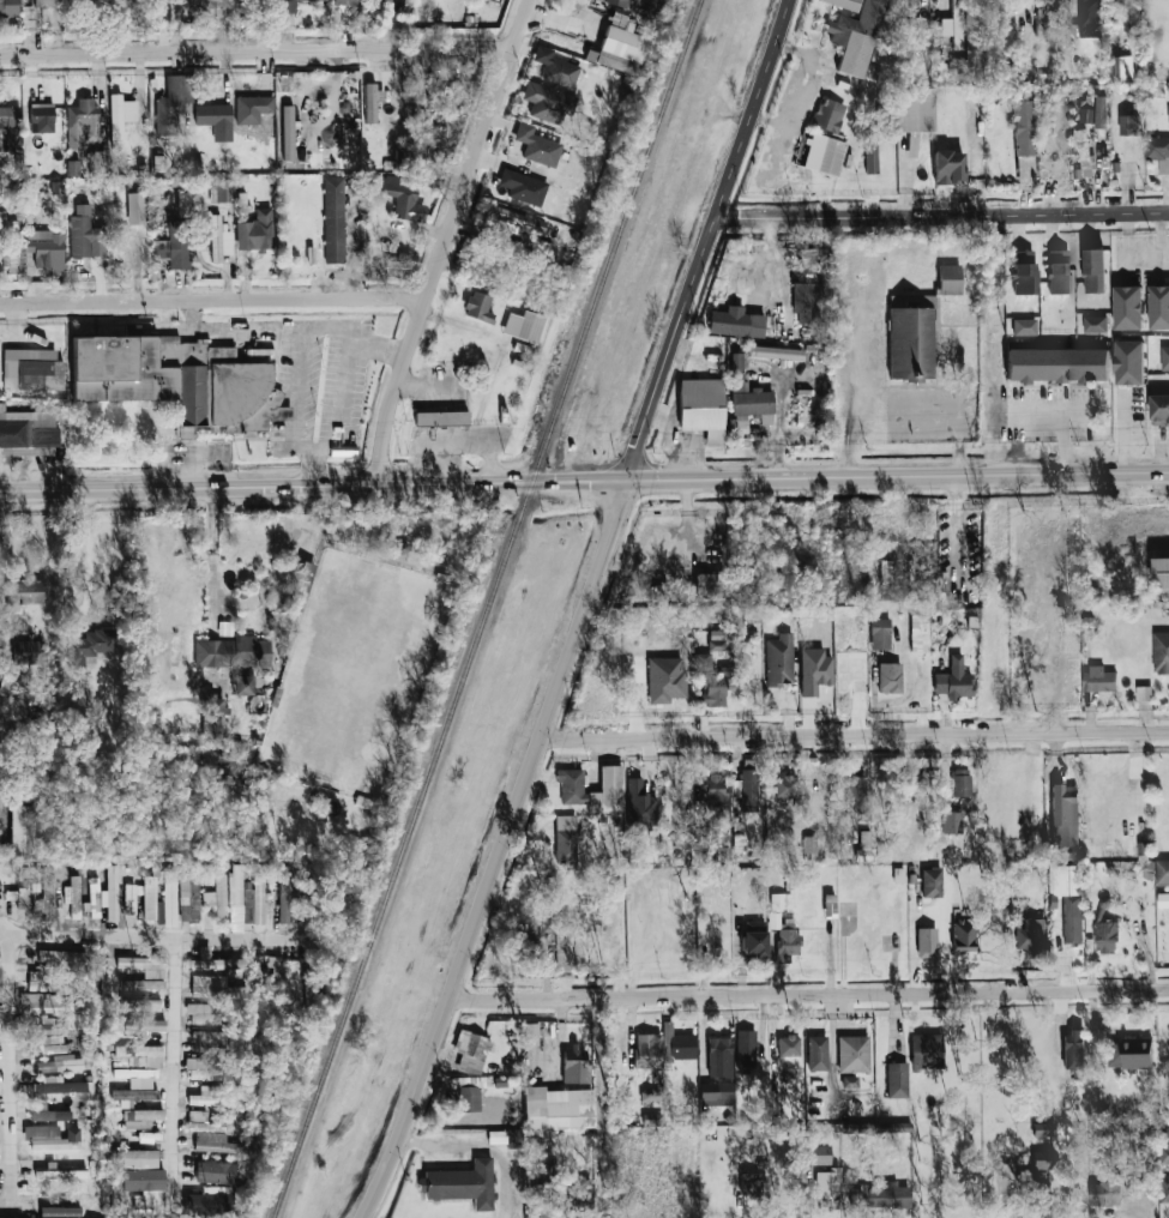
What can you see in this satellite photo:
building: (384, 0)
building: (343, 1)
building: (617, 2)
building: (43, 4)
building: (198, 5)
building: (287, 6)
building: (8, 8)
building: (909, 8)
building: (1131, 14)
building: (1090, 18)
building: (954, 25)
building: (856, 37)
building: (619, 47)
road: (257, 49)
building: (555, 67)
building: (1121, 68)
building: (372, 102)
building: (174, 103)
building: (548, 103)
building: (253, 108)
building: (915, 109)
building: (828, 114)
building: (1096, 114)
building: (42, 117)
building: (121, 117)
building: (216, 120)
building: (82, 122)
building: (1129, 125)
building: (10, 127)
building: (1024, 128)
building: (288, 132)
building: (537, 146)
building: (1158, 151)
building: (1084, 152)
building: (824, 153)
building: (872, 156)
building: (97, 163)
building: (159, 163)
building: (948, 167)
building: (72, 168)
building: (523, 187)
building: (221, 191)
building: (399, 197)
building: (241, 204)
building: (182, 205)
building: (135, 209)
road: (941, 215)
building: (333, 219)
building: (510, 221)
building: (255, 231)
building: (85, 234)
building: (216, 239)
road: (1161, 239)
road: (444, 240)
building: (10, 245)
building: (174, 246)
building: (47, 248)
road: (1140, 258)
building: (1093, 271)
building: (1024, 272)
building: (1059, 272)
building: (950, 279)
road: (211, 300)
building: (806, 303)
building: (478, 307)
building: (1128, 308)
building: (1158, 308)
building: (736, 322)
building: (1095, 324)
building: (524, 326)
building: (1024, 326)
building: (908, 343)
building: (776, 352)
building: (1056, 363)
building: (1129, 363)
road: (297, 367)
building: (31, 369)
building: (180, 381)
road: (851, 384)
road: (342, 386)
building: (748, 396)
road: (960, 408)
building: (703, 409)
building: (1159, 409)
parking lot: (1050, 412)
road: (1075, 412)
parking lot: (933, 415)
road: (1063, 417)
building: (441, 418)
building: (28, 433)
traffic signals: (625, 480)
road: (584, 481)
road: (212, 547)
road: (90, 559)
building: (887, 572)
building: (1161, 572)
building: (305, 577)
building: (710, 585)
building: (299, 603)
railway: (488, 608)
road: (580, 610)
building: (880, 633)
building: (88, 646)
building: (28, 652)
building: (233, 652)
building: (1161, 652)
building: (779, 659)
building: (814, 670)
park: (357, 674)
building: (890, 677)
building: (665, 680)
building: (954, 680)
building: (1098, 680)
building: (716, 682)
building: (242, 685)
building: (213, 716)
road: (851, 737)
building: (960, 783)
building: (785, 784)
building: (571, 785)
building: (746, 788)
building: (713, 790)
building: (608, 791)
building: (855, 792)
building: (640, 807)
road: (1, 813)
building: (956, 818)
building: (1066, 821)
building: (20, 831)
building: (566, 839)
building: (809, 844)
building: (723, 851)
building: (1162, 873)
building: (209, 878)
building: (930, 882)
building: (23, 887)
building: (112, 893)
building: (284, 893)
building: (95, 896)
building: (188, 896)
building: (218, 896)
building: (73, 897)
building: (150, 897)
building: (170, 897)
building: (131, 898)
building: (235, 898)
building: (307, 899)
building: (1068, 899)
building: (781, 900)
building: (1163, 900)
building: (254, 903)
building: (161, 911)
building: (964, 936)
road: (141, 937)
building: (784, 937)
building: (1032, 937)
building: (1105, 937)
building: (754, 939)
building: (927, 942)
building: (524, 947)
building: (65, 959)
building: (212, 961)
building: (143, 965)
building: (269, 972)
building: (294, 979)
building: (48, 983)
building: (141, 984)
building: (211, 987)
road: (806, 995)
building: (48, 1003)
building: (140, 1003)
building: (203, 1014)
building: (140, 1025)
building: (48, 1027)
building: (531, 1033)
building: (677, 1043)
building: (47, 1044)
building: (788, 1045)
building: (211, 1047)
building: (746, 1049)
building: (647, 1050)
building: (926, 1050)
building: (471, 1051)
building: (818, 1053)
building: (1074, 1053)
building: (852, 1054)
building: (140, 1055)
building: (1129, 1055)
building: (719, 1057)
building: (119, 1061)
building: (58, 1063)
building: (574, 1065)
road: (177, 1067)
building: (203, 1069)
road: (8, 1071)
building: (137, 1077)
building: (897, 1079)
building: (849, 1081)
building: (59, 1087)
building: (716, 1093)
building: (651, 1095)
building: (132, 1096)
building: (466, 1096)
building: (207, 1097)
building: (558, 1108)
building: (47, 1113)
building: (140, 1118)
building: (653, 1120)
building: (869, 1127)
building: (1043, 1129)
building: (210, 1134)
building: (52, 1138)
road: (482, 1144)
building: (1164, 1153)
building: (818, 1154)
building: (138, 1158)
building: (1043, 1159)
building: (216, 1171)
building: (62, 1175)
building: (1134, 1176)
building: (462, 1183)
building: (827, 1184)
building: (144, 1186)
building: (1037, 1189)
building: (1105, 1190)
building: (586, 1192)
building: (881, 1195)
building: (1164, 1196)
building: (543, 1199)
building: (209, 1202)
road: (19, 1206)
building: (60, 1212)

